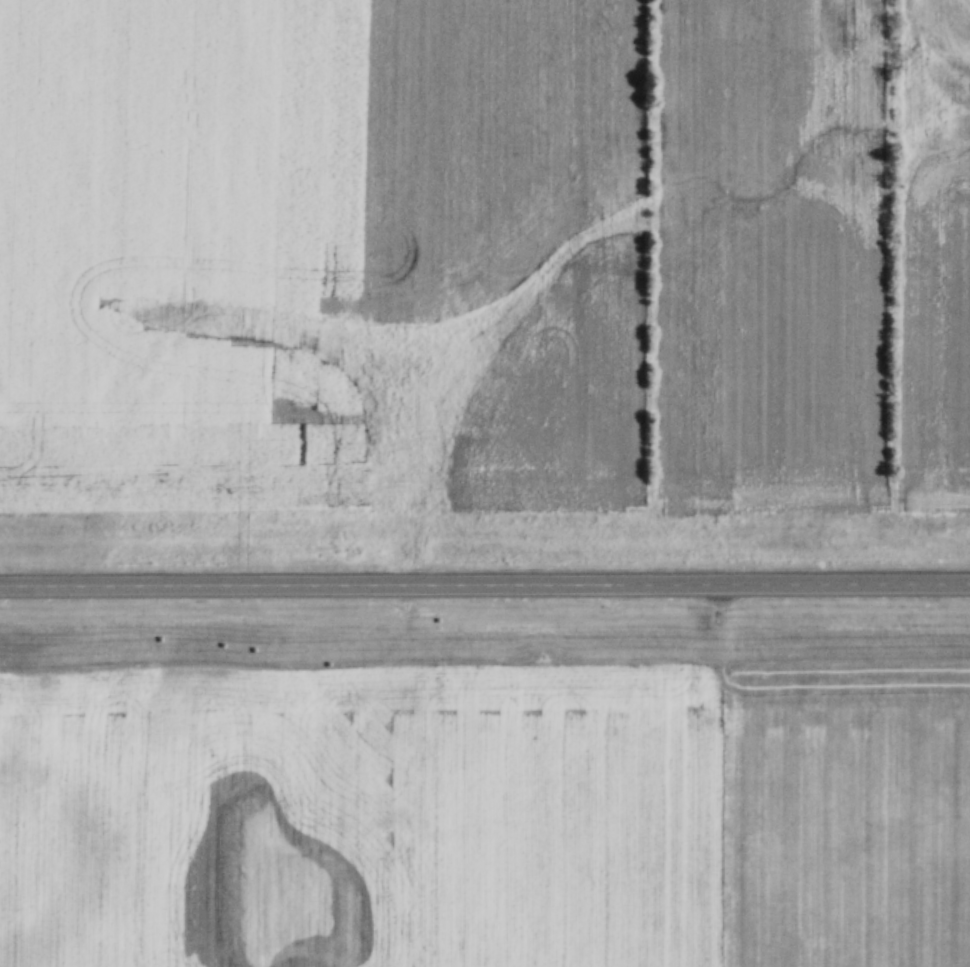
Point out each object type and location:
road: (484, 588)

